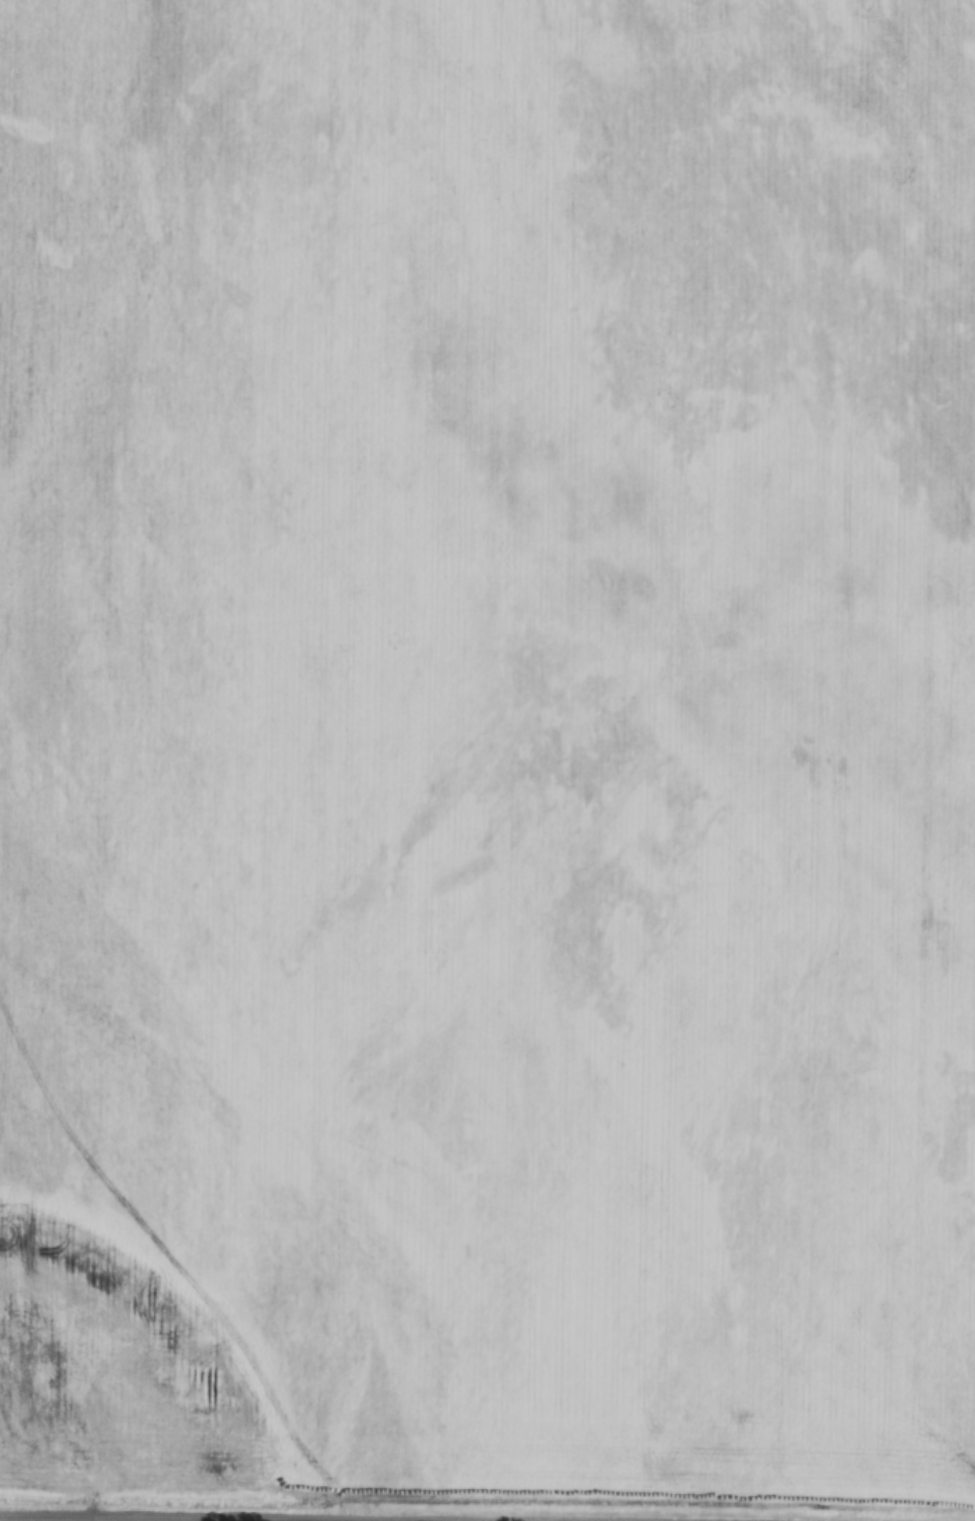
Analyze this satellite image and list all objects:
road: (170, 1518)

